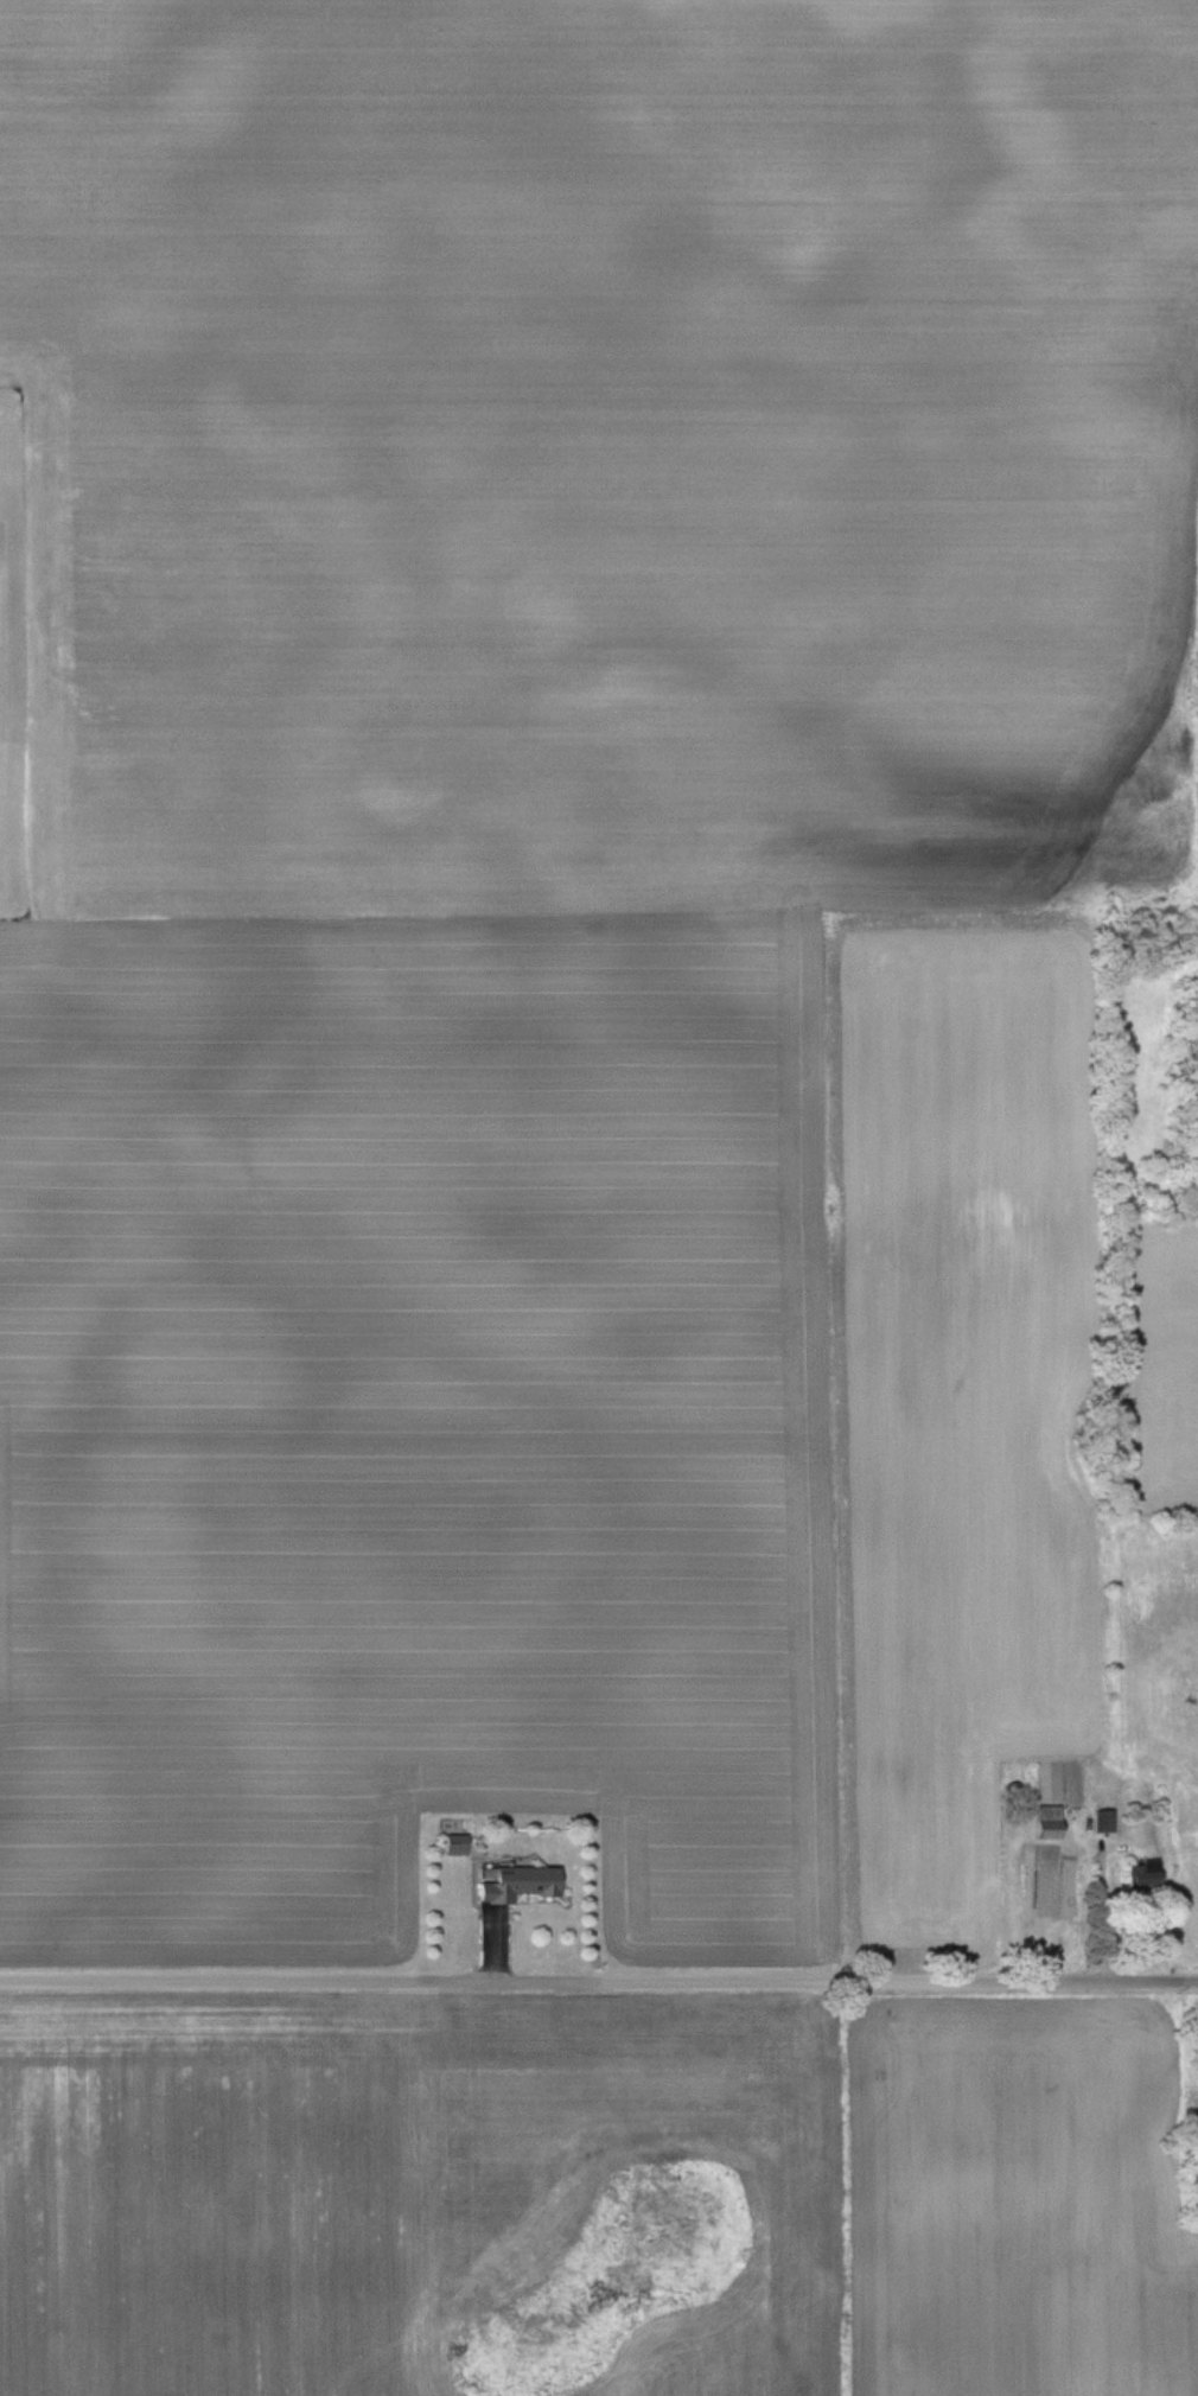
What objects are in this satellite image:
building: (1103, 1821)
building: (1046, 1822)
building: (1142, 1874)
building: (514, 1882)
road: (599, 1982)

